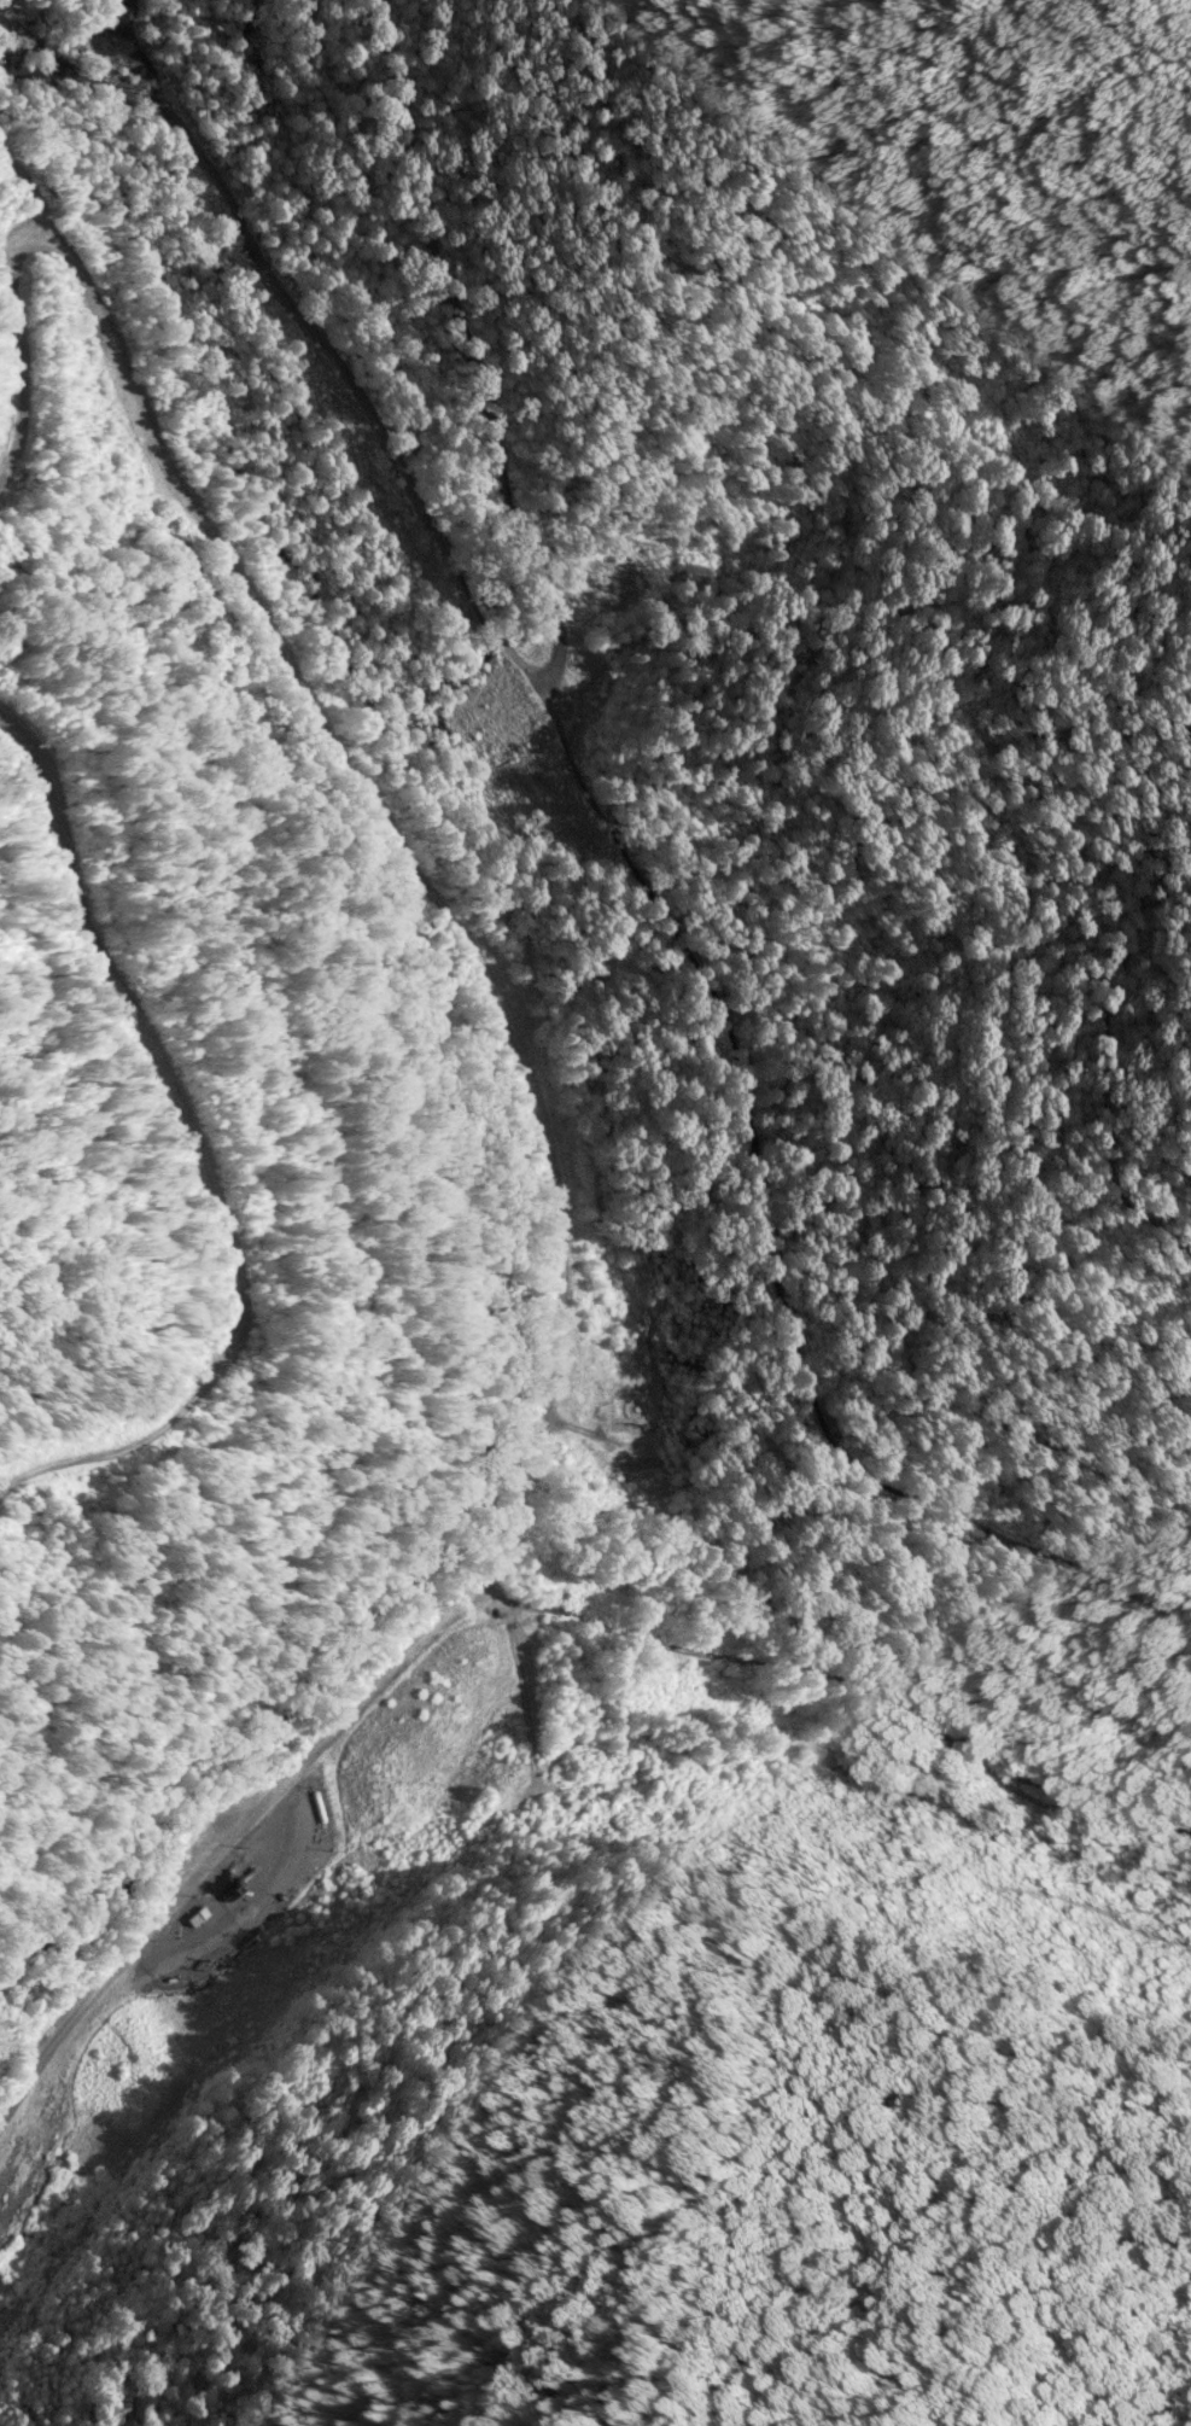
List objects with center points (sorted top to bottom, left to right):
road: (612, 911)
road: (519, 1214)

